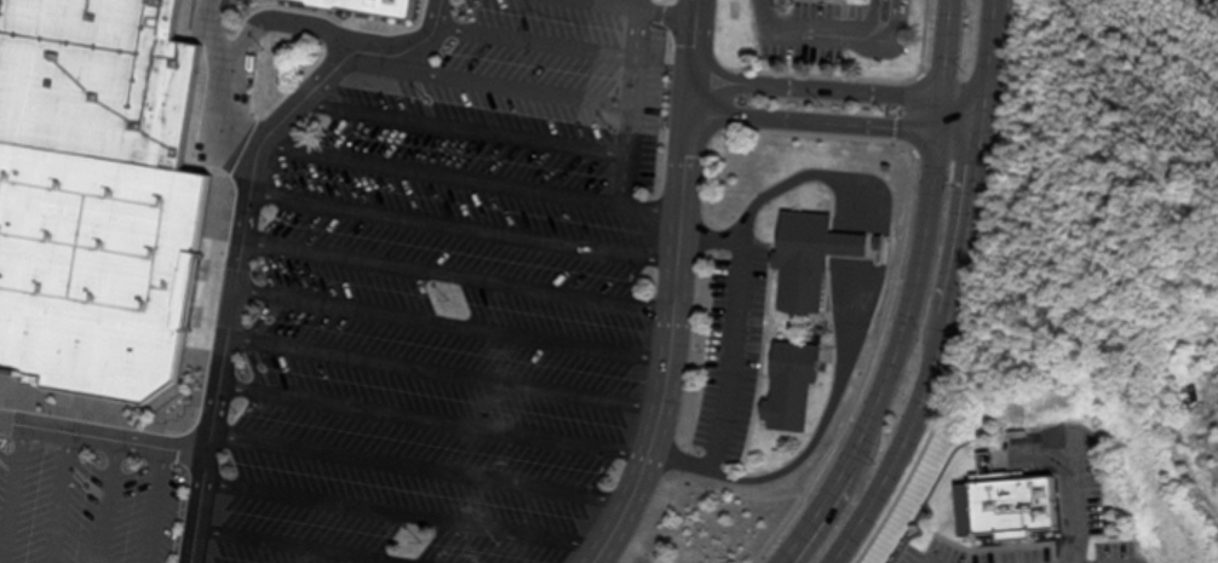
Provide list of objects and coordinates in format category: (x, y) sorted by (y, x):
building: (375, 4)
road: (655, 6)
road: (777, 23)
road: (845, 23)
road: (868, 25)
road: (532, 34)
road: (689, 39)
road: (935, 47)
road: (976, 65)
road: (482, 77)
road: (809, 86)
parking lot: (521, 94)
road: (685, 94)
road: (953, 96)
road: (624, 97)
road: (461, 119)
road: (826, 121)
road: (470, 166)
road: (248, 172)
building: (92, 194)
road: (460, 222)
building: (798, 262)
road: (455, 270)
road: (449, 318)
road: (892, 341)
road: (667, 346)
road: (927, 357)
parking lot: (426, 362)
road: (441, 368)
building: (785, 386)
road: (432, 412)
road: (102, 436)
road: (416, 461)
road: (1067, 484)
road: (11, 488)
road: (54, 496)
road: (104, 500)
building: (1007, 500)
parking lot: (86, 504)
road: (149, 504)
road: (196, 507)
road: (402, 510)
road: (315, 542)
road: (921, 562)

